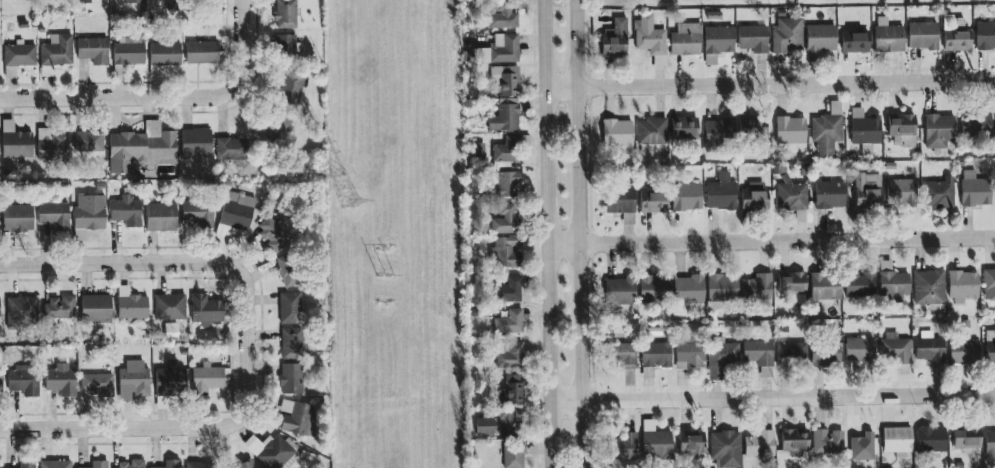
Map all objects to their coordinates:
building: (133, 1)
building: (83, 2)
road: (244, 5)
building: (286, 14)
building: (503, 17)
building: (649, 36)
building: (787, 36)
building: (923, 36)
building: (985, 36)
building: (888, 37)
building: (615, 38)
building: (753, 39)
building: (821, 39)
building: (686, 40)
building: (958, 40)
building: (855, 42)
building: (717, 43)
building: (287, 46)
building: (504, 48)
building: (93, 50)
building: (57, 51)
building: (202, 53)
building: (127, 54)
building: (164, 57)
building: (18, 58)
building: (505, 80)
building: (292, 87)
road: (769, 87)
road: (158, 97)
building: (504, 119)
building: (976, 125)
building: (275, 127)
building: (684, 128)
building: (790, 129)
building: (901, 129)
building: (753, 130)
building: (865, 130)
building: (939, 131)
building: (719, 132)
building: (826, 132)
building: (617, 133)
building: (651, 134)
building: (16, 142)
building: (88, 142)
building: (196, 143)
building: (52, 145)
building: (139, 147)
building: (231, 149)
building: (507, 149)
building: (506, 184)
building: (974, 190)
building: (868, 192)
building: (721, 193)
building: (901, 193)
building: (939, 194)
building: (686, 195)
building: (829, 195)
building: (754, 197)
building: (791, 197)
building: (652, 202)
building: (620, 203)
power tower: (349, 204)
building: (125, 211)
building: (89, 212)
building: (235, 213)
building: (197, 214)
building: (54, 215)
building: (161, 217)
building: (18, 218)
building: (505, 221)
building: (273, 233)
road: (546, 234)
road: (580, 234)
road: (770, 242)
building: (506, 252)
road: (164, 262)
building: (290, 272)
building: (892, 283)
building: (962, 284)
building: (859, 285)
building: (989, 285)
building: (825, 286)
building: (757, 287)
building: (928, 287)
building: (722, 288)
building: (792, 288)
building: (653, 289)
building: (688, 289)
building: (509, 290)
building: (619, 291)
building: (170, 307)
building: (0, 308)
building: (60, 308)
building: (132, 308)
building: (290, 308)
building: (95, 309)
building: (206, 310)
building: (21, 312)
building: (509, 322)
building: (291, 345)
building: (989, 347)
building: (893, 348)
building: (930, 348)
building: (859, 350)
building: (963, 352)
building: (791, 354)
building: (623, 355)
building: (689, 355)
building: (825, 355)
building: (510, 356)
building: (759, 356)
building: (654, 358)
building: (721, 359)
building: (135, 378)
building: (24, 379)
building: (207, 379)
building: (291, 379)
building: (170, 380)
building: (61, 381)
building: (0, 384)
building: (97, 384)
building: (511, 391)
road: (771, 399)
building: (298, 419)
building: (508, 422)
building: (483, 427)
road: (155, 429)
building: (966, 439)
building: (931, 440)
building: (794, 441)
building: (859, 441)
building: (897, 441)
building: (691, 442)
building: (827, 442)
building: (760, 444)
building: (625, 446)
building: (990, 447)
building: (725, 448)
building: (271, 450)
building: (513, 455)
building: (55, 464)
building: (99, 464)
building: (132, 464)
building: (171, 464)
building: (26, 465)
building: (198, 465)
building: (241, 465)

